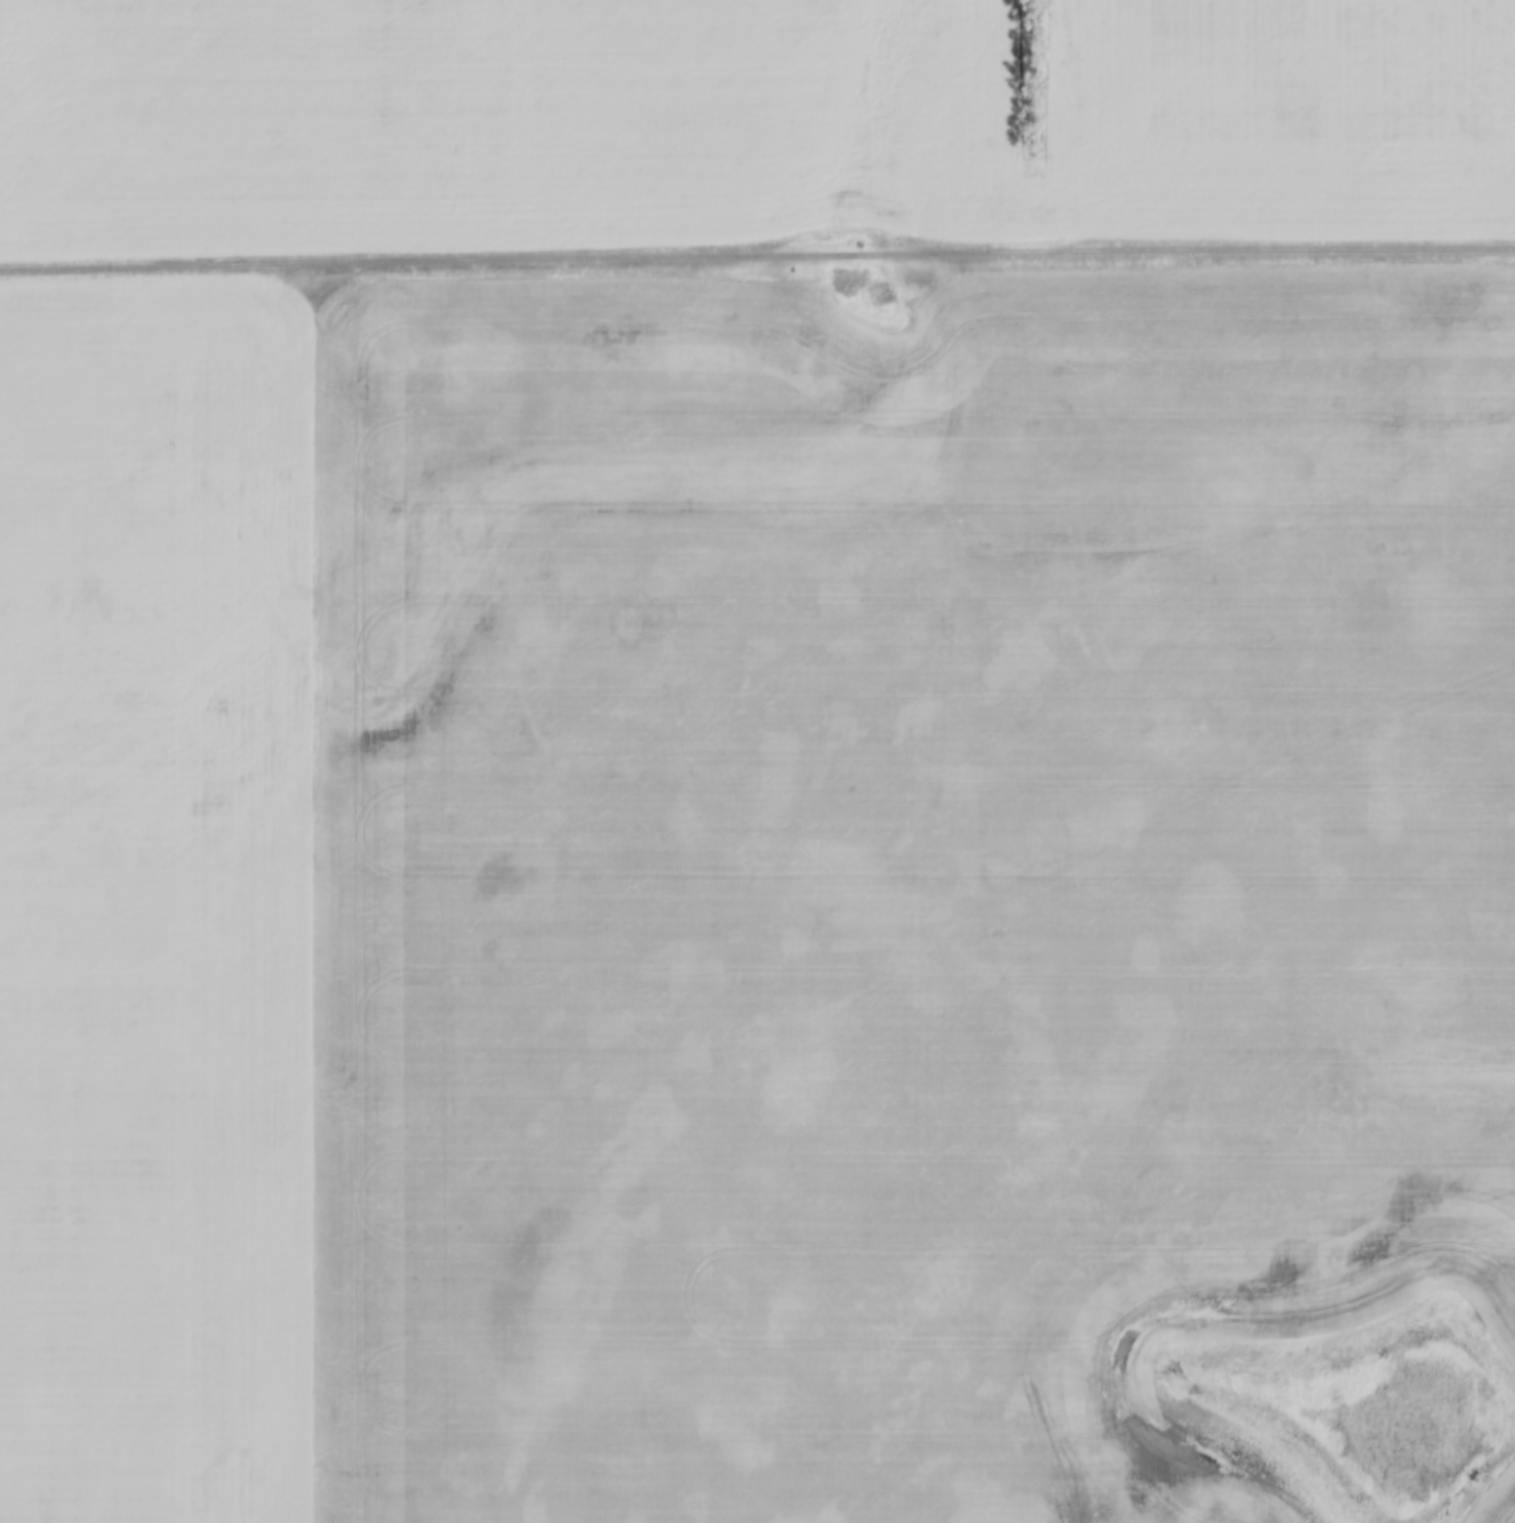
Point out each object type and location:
road: (757, 252)

